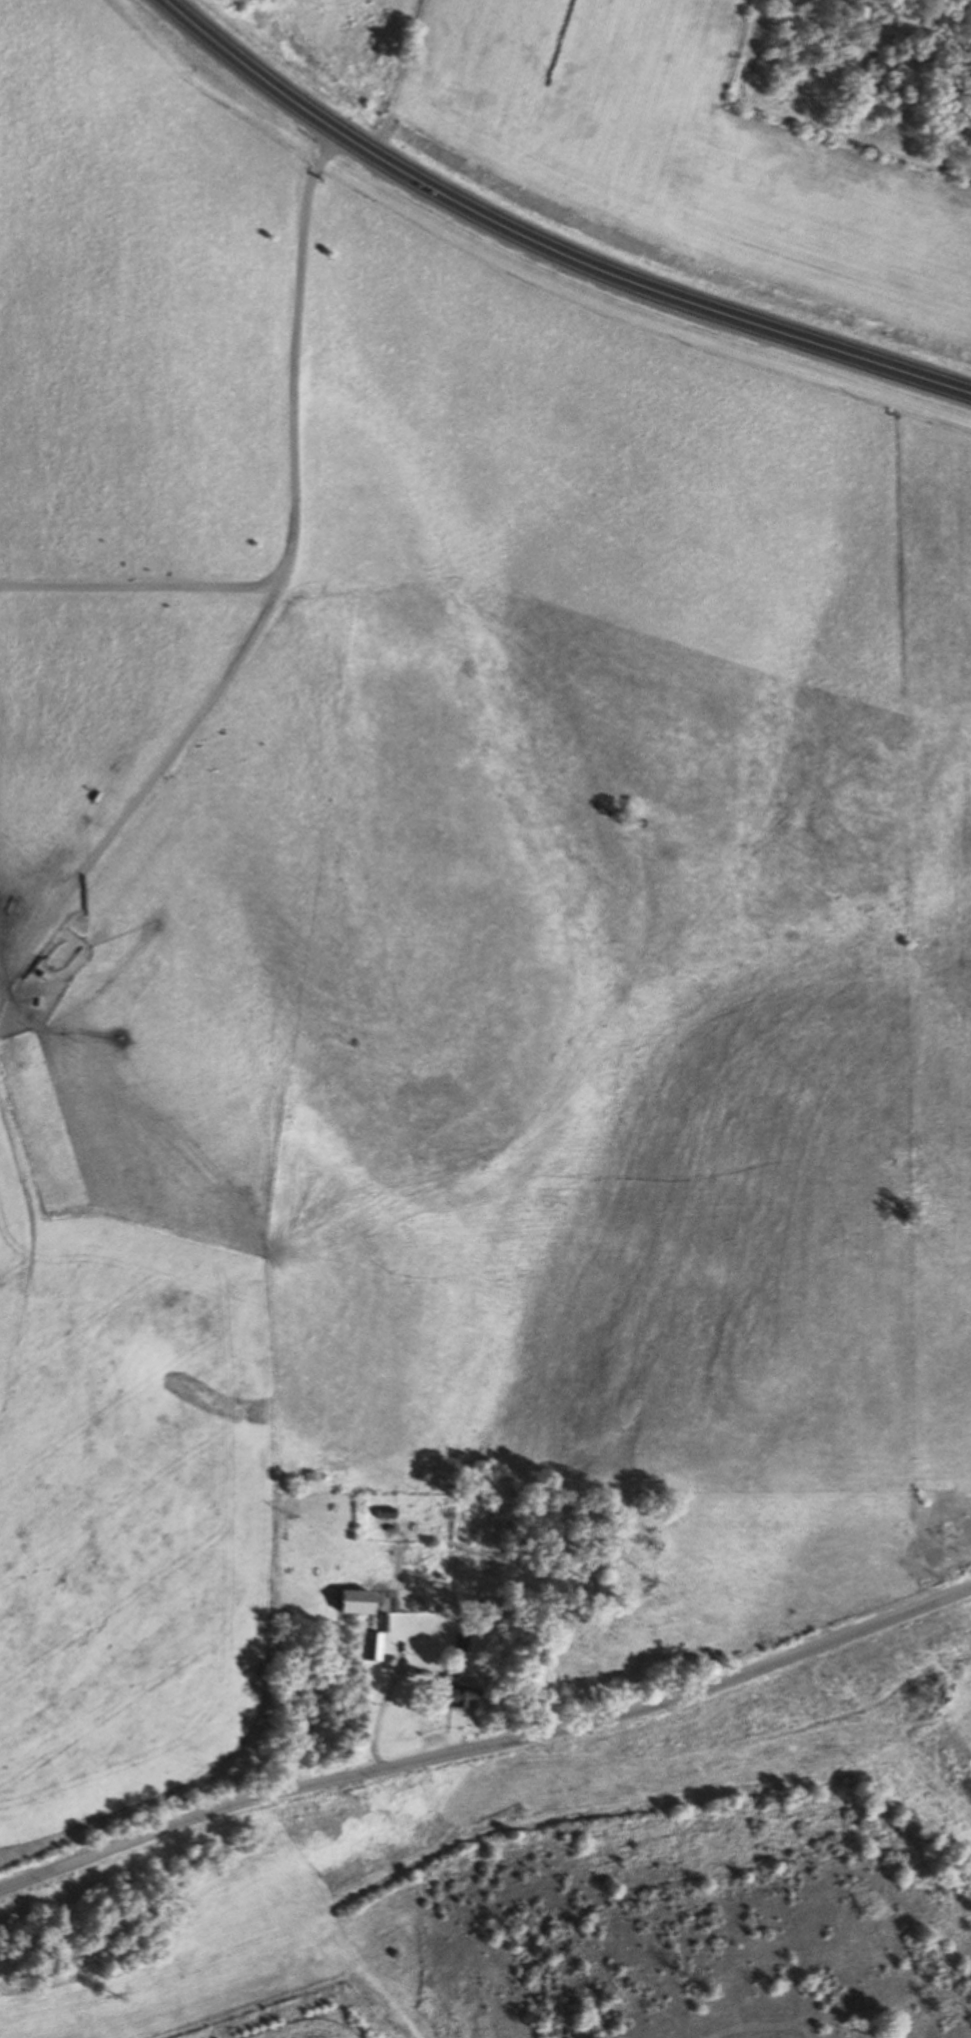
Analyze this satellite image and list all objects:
road: (545, 241)
road: (293, 491)
road: (155, 770)
building: (384, 1510)
building: (355, 1599)
building: (493, 1613)
building: (375, 1638)
building: (463, 1641)
road: (388, 1688)
building: (458, 1694)
road: (487, 1743)

